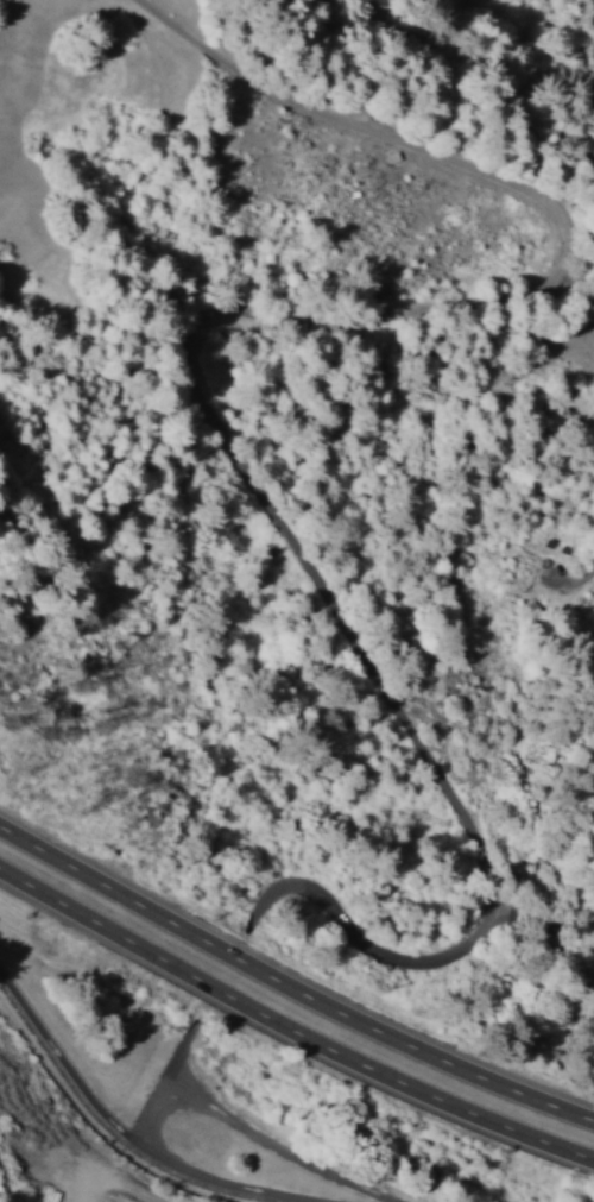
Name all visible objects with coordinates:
road: (190, 347)
road: (290, 986)
road: (292, 1034)
road: (63, 1080)
road: (176, 1088)
road: (278, 1150)
road: (215, 1185)

